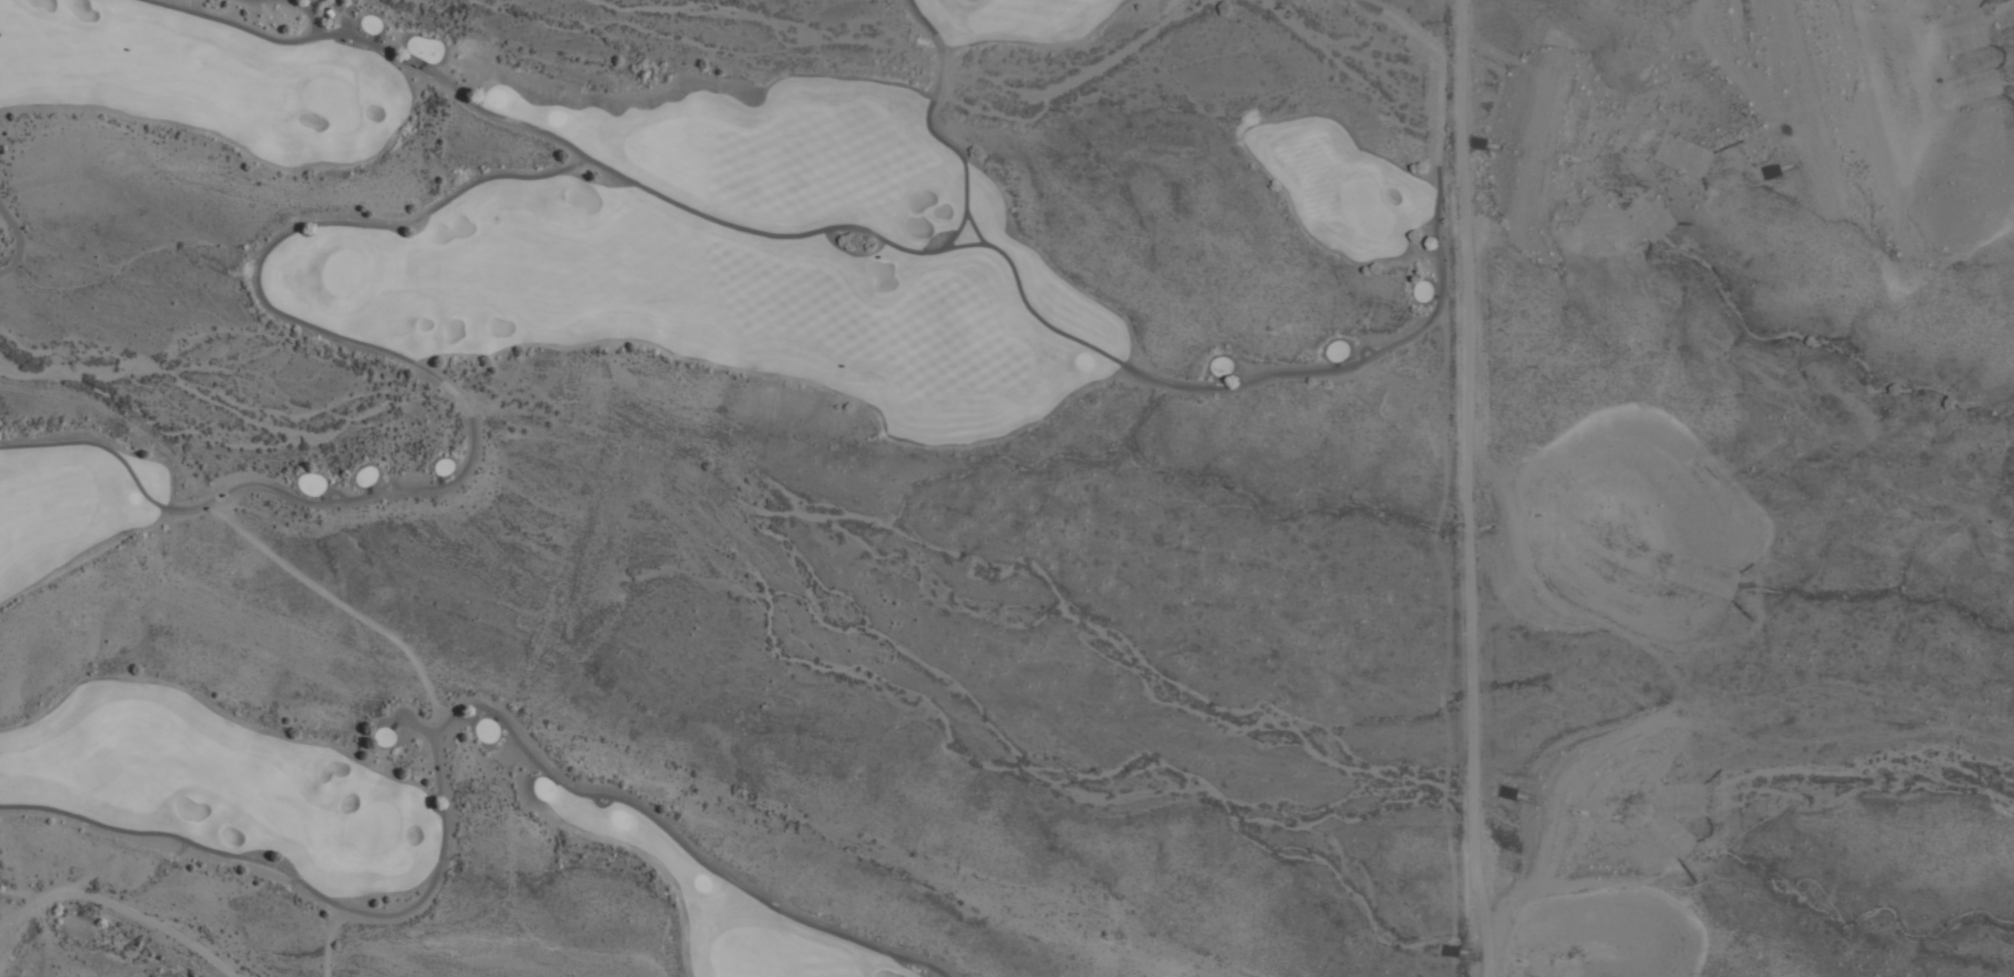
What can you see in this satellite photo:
road: (308, 13)
road: (343, 16)
road: (500, 112)
road: (930, 123)
road: (972, 225)
road: (889, 239)
road: (1341, 368)
park: (609, 382)
road: (431, 732)
road: (328, 938)

